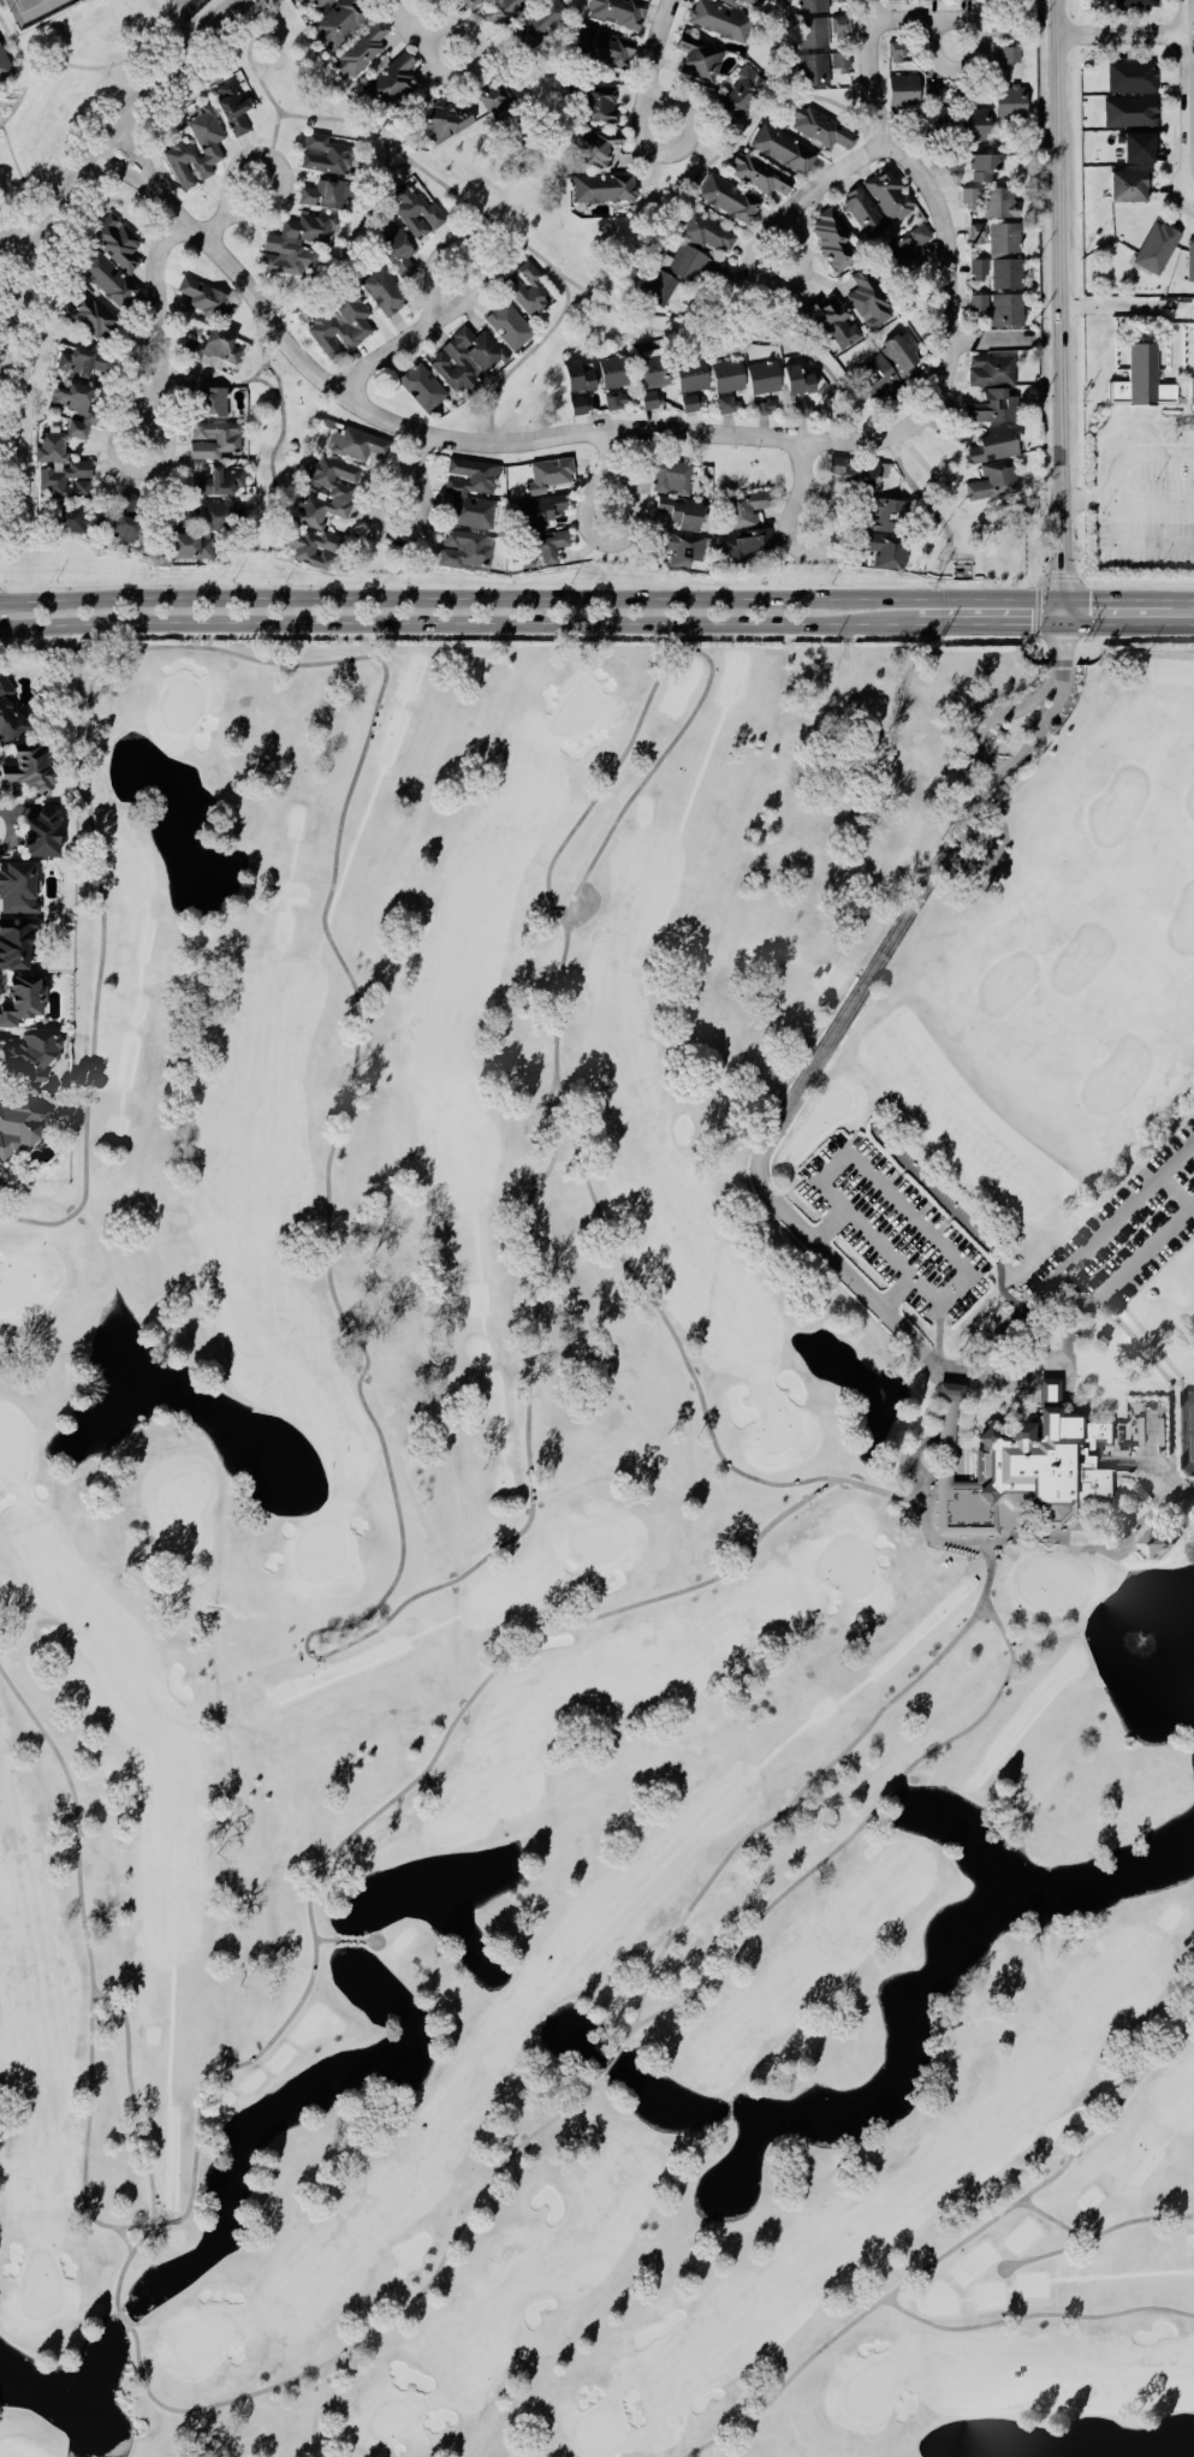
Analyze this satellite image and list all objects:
building: (730, 0)
building: (898, 0)
building: (926, 0)
building: (299, 1)
building: (474, 1)
building: (753, 1)
building: (1133, 2)
building: (319, 4)
park: (23, 5)
building: (812, 5)
park: (30, 10)
building: (505, 10)
road: (1169, 10)
park: (183, 11)
building: (618, 11)
road: (921, 17)
building: (719, 19)
building: (337, 22)
building: (536, 24)
building: (839, 24)
building: (1009, 28)
building: (813, 31)
road: (416, 32)
road: (1166, 32)
road: (1122, 35)
road: (178, 42)
building: (602, 47)
road: (1166, 47)
building: (361, 48)
road: (14, 49)
building: (896, 51)
building: (1010, 53)
building: (699, 57)
building: (4, 61)
building: (839, 61)
road: (657, 63)
road: (99, 69)
building: (813, 69)
building: (1131, 75)
building: (390, 81)
park: (63, 82)
building: (902, 89)
building: (741, 91)
road: (271, 93)
road: (1188, 95)
building: (1009, 100)
road: (7, 102)
building: (497, 102)
building: (598, 102)
building: (230, 106)
building: (935, 109)
building: (1129, 109)
building: (442, 119)
road: (0, 121)
building: (974, 123)
building: (820, 127)
road: (1174, 142)
road: (687, 144)
building: (1137, 146)
building: (592, 148)
building: (782, 148)
building: (177, 150)
building: (325, 153)
road: (93, 160)
building: (951, 161)
building: (982, 165)
building: (758, 173)
road: (19, 177)
road: (436, 183)
building: (1128, 184)
road: (824, 185)
building: (604, 186)
road: (940, 190)
building: (325, 194)
building: (889, 194)
park: (497, 195)
building: (969, 197)
building: (727, 198)
building: (999, 202)
building: (414, 210)
road: (230, 213)
building: (863, 213)
road: (664, 226)
building: (706, 232)
building: (976, 232)
road: (23, 233)
building: (832, 237)
building: (1003, 237)
building: (115, 241)
building: (296, 242)
building: (1157, 247)
building: (908, 249)
building: (396, 251)
building: (1190, 259)
building: (683, 262)
building: (978, 267)
building: (1005, 272)
building: (107, 278)
building: (658, 286)
building: (525, 287)
building: (384, 290)
building: (201, 296)
building: (865, 299)
building: (978, 302)
road: (1124, 308)
building: (1006, 309)
road: (1058, 314)
building: (90, 315)
building: (836, 322)
building: (509, 325)
building: (340, 326)
road: (164, 330)
road: (992, 336)
road: (411, 338)
building: (218, 348)
road: (1189, 351)
building: (901, 355)
road: (1156, 355)
building: (464, 357)
building: (82, 361)
road: (1160, 363)
building: (1193, 364)
building: (613, 369)
building: (991, 369)
building: (652, 370)
building: (726, 374)
building: (690, 375)
building: (877, 375)
building: (762, 376)
road: (1184, 378)
building: (1137, 379)
building: (797, 380)
road: (1174, 382)
building: (577, 384)
building: (421, 385)
building: (213, 399)
building: (614, 399)
building: (648, 399)
road: (1103, 399)
building: (689, 402)
road: (1159, 403)
building: (727, 404)
road: (1139, 404)
building: (762, 405)
building: (992, 406)
building: (796, 408)
road: (1143, 422)
road: (1165, 429)
road: (476, 435)
building: (213, 438)
building: (356, 444)
building: (993, 444)
road: (1135, 457)
road: (416, 469)
building: (856, 469)
road: (612, 473)
building: (548, 474)
building: (671, 476)
building: (218, 480)
building: (992, 481)
road: (807, 482)
street lamp: (1152, 482)
building: (457, 493)
building: (338, 495)
road: (925, 499)
road: (1153, 500)
road: (1064, 502)
road: (1091, 502)
parking lot: (1143, 505)
building: (744, 506)
building: (537, 510)
building: (678, 511)
street lamp: (1099, 512)
building: (886, 514)
building: (78, 517)
building: (124, 517)
building: (194, 530)
park: (981, 539)
building: (744, 542)
road: (1134, 544)
building: (313, 546)
building: (462, 547)
building: (679, 547)
building: (885, 547)
building: (540, 548)
street lamp: (1156, 568)
road: (1061, 577)
road: (530, 597)
traffic signals: (1062, 598)
road: (1117, 598)
road: (1183, 599)
road: (1039, 607)
road: (1127, 627)
road: (943, 628)
road: (1023, 628)
traffic signals: (1059, 628)
road: (449, 629)
road: (1057, 649)
building: (8, 711)
park: (576, 711)
road: (993, 714)
road: (1032, 732)
building: (29, 768)
building: (40, 835)
building: (18, 888)
building: (16, 943)
building: (22, 999)
building: (31, 1055)
road: (798, 1086)
building: (19, 1122)
road: (895, 1192)
road: (828, 1223)
road: (1079, 1254)
road: (1071, 1313)
building: (948, 1390)
park: (1187, 1431)
building: (1158, 1448)
building: (1027, 1460)
road: (1099, 1539)
building: (1148, 1541)
building: (962, 1549)
park: (606, 1556)
park: (606, 1561)
fountain: (1137, 1642)

